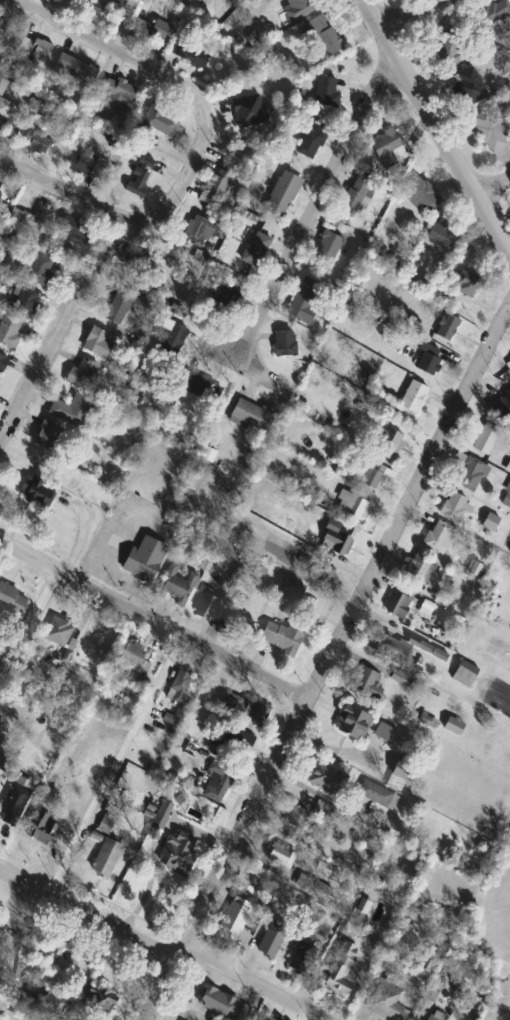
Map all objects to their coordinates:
building: (95, 8)
building: (296, 11)
building: (495, 11)
road: (405, 14)
building: (142, 22)
building: (2, 28)
building: (322, 31)
building: (449, 48)
building: (189, 54)
building: (76, 67)
building: (2, 85)
building: (468, 87)
building: (326, 91)
building: (118, 94)
building: (249, 111)
building: (160, 120)
building: (2, 121)
road: (438, 127)
building: (490, 131)
building: (35, 134)
building: (311, 141)
road: (197, 147)
building: (389, 150)
building: (86, 165)
building: (140, 176)
building: (218, 183)
road: (493, 185)
building: (1, 186)
building: (422, 194)
building: (282, 195)
building: (356, 196)
road: (315, 205)
building: (41, 217)
building: (77, 229)
building: (202, 229)
building: (441, 237)
building: (328, 247)
building: (255, 249)
building: (39, 266)
building: (465, 282)
building: (225, 295)
building: (305, 300)
building: (25, 302)
building: (117, 306)
building: (448, 327)
building: (8, 332)
building: (171, 335)
building: (98, 344)
building: (285, 344)
road: (237, 360)
building: (429, 360)
road: (41, 361)
building: (2, 362)
building: (508, 365)
building: (83, 373)
building: (200, 388)
building: (414, 397)
building: (504, 405)
building: (72, 410)
building: (251, 416)
building: (49, 436)
building: (485, 439)
building: (387, 444)
building: (370, 474)
building: (471, 475)
building: (36, 492)
building: (353, 505)
building: (455, 507)
building: (439, 537)
building: (335, 539)
road: (82, 540)
building: (144, 559)
building: (423, 570)
building: (323, 572)
building: (177, 586)
building: (291, 588)
building: (11, 602)
building: (206, 606)
building: (398, 606)
road: (155, 622)
building: (241, 625)
road: (28, 626)
building: (57, 633)
building: (281, 638)
building: (390, 646)
building: (134, 659)
road: (330, 662)
building: (465, 674)
building: (368, 682)
building: (178, 686)
building: (256, 710)
building: (353, 722)
building: (454, 726)
building: (383, 729)
building: (237, 743)
road: (114, 764)
building: (398, 774)
building: (0, 777)
building: (325, 777)
building: (218, 781)
building: (378, 795)
building: (14, 802)
building: (324, 811)
building: (295, 816)
building: (43, 828)
building: (180, 855)
building: (281, 856)
building: (106, 859)
building: (312, 888)
building: (235, 918)
building: (2, 925)
building: (269, 944)
road: (164, 945)
building: (301, 958)
building: (342, 971)
building: (386, 998)
building: (92, 999)
building: (216, 1001)
road: (494, 1006)
parking lot: (508, 1006)
road: (300, 1013)
building: (437, 1016)
building: (268, 1018)
parking lot: (502, 1019)

